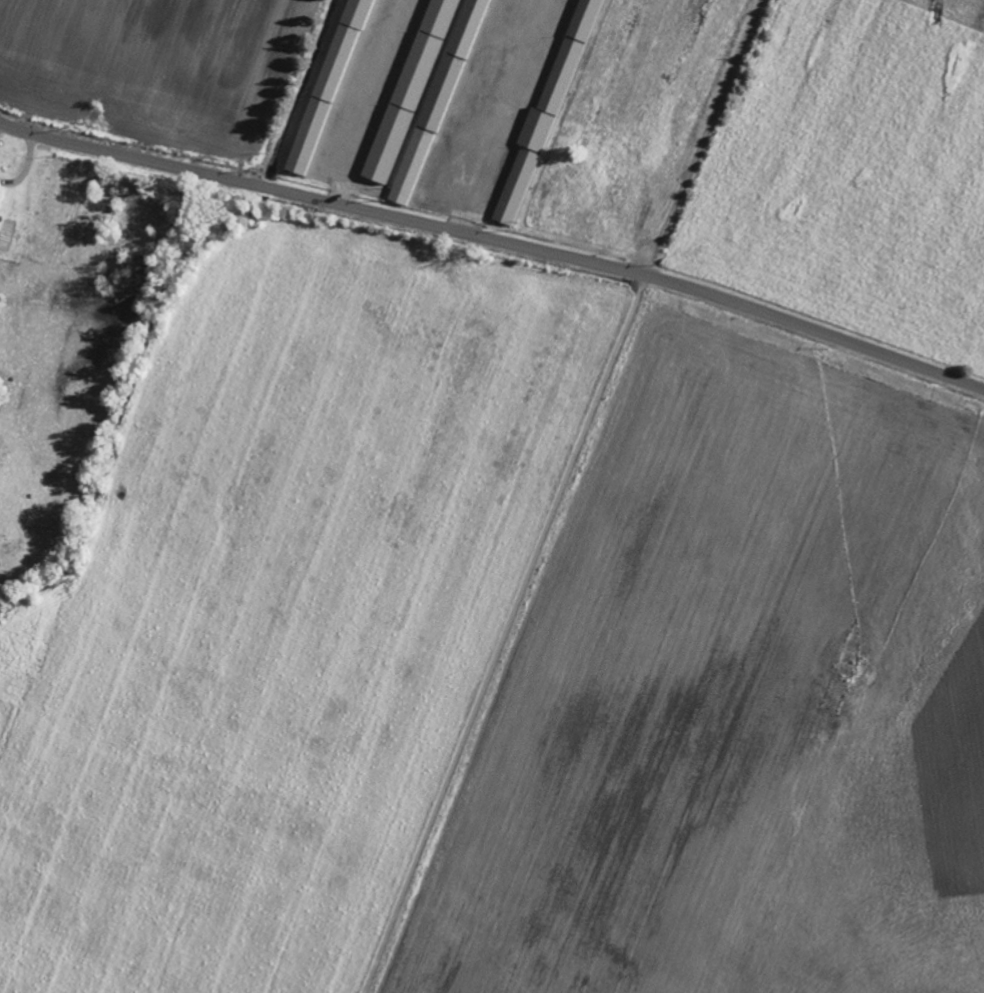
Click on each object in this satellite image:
road: (496, 240)
road: (505, 633)

